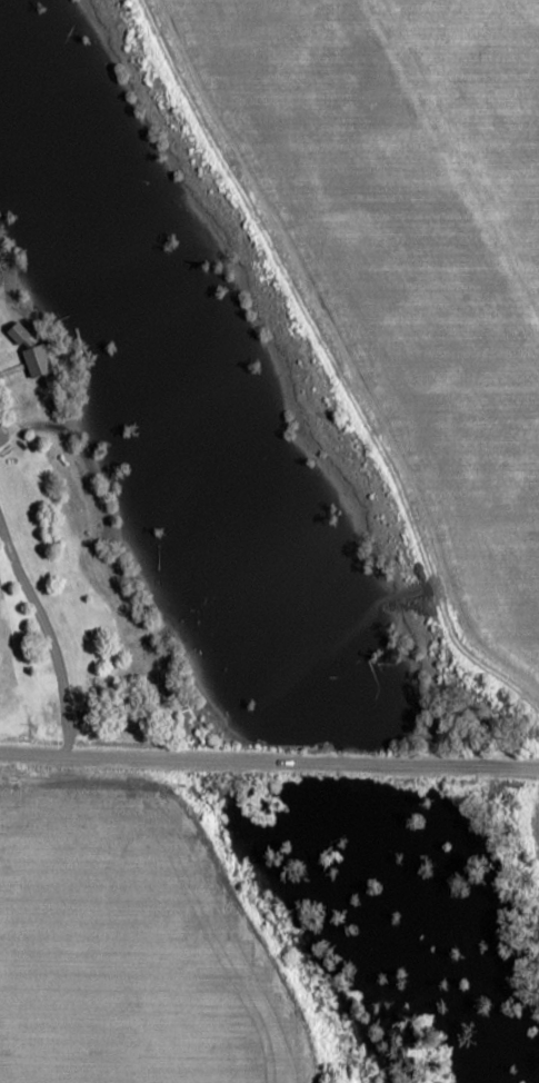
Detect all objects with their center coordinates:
building: (86, 675)
road: (269, 763)

